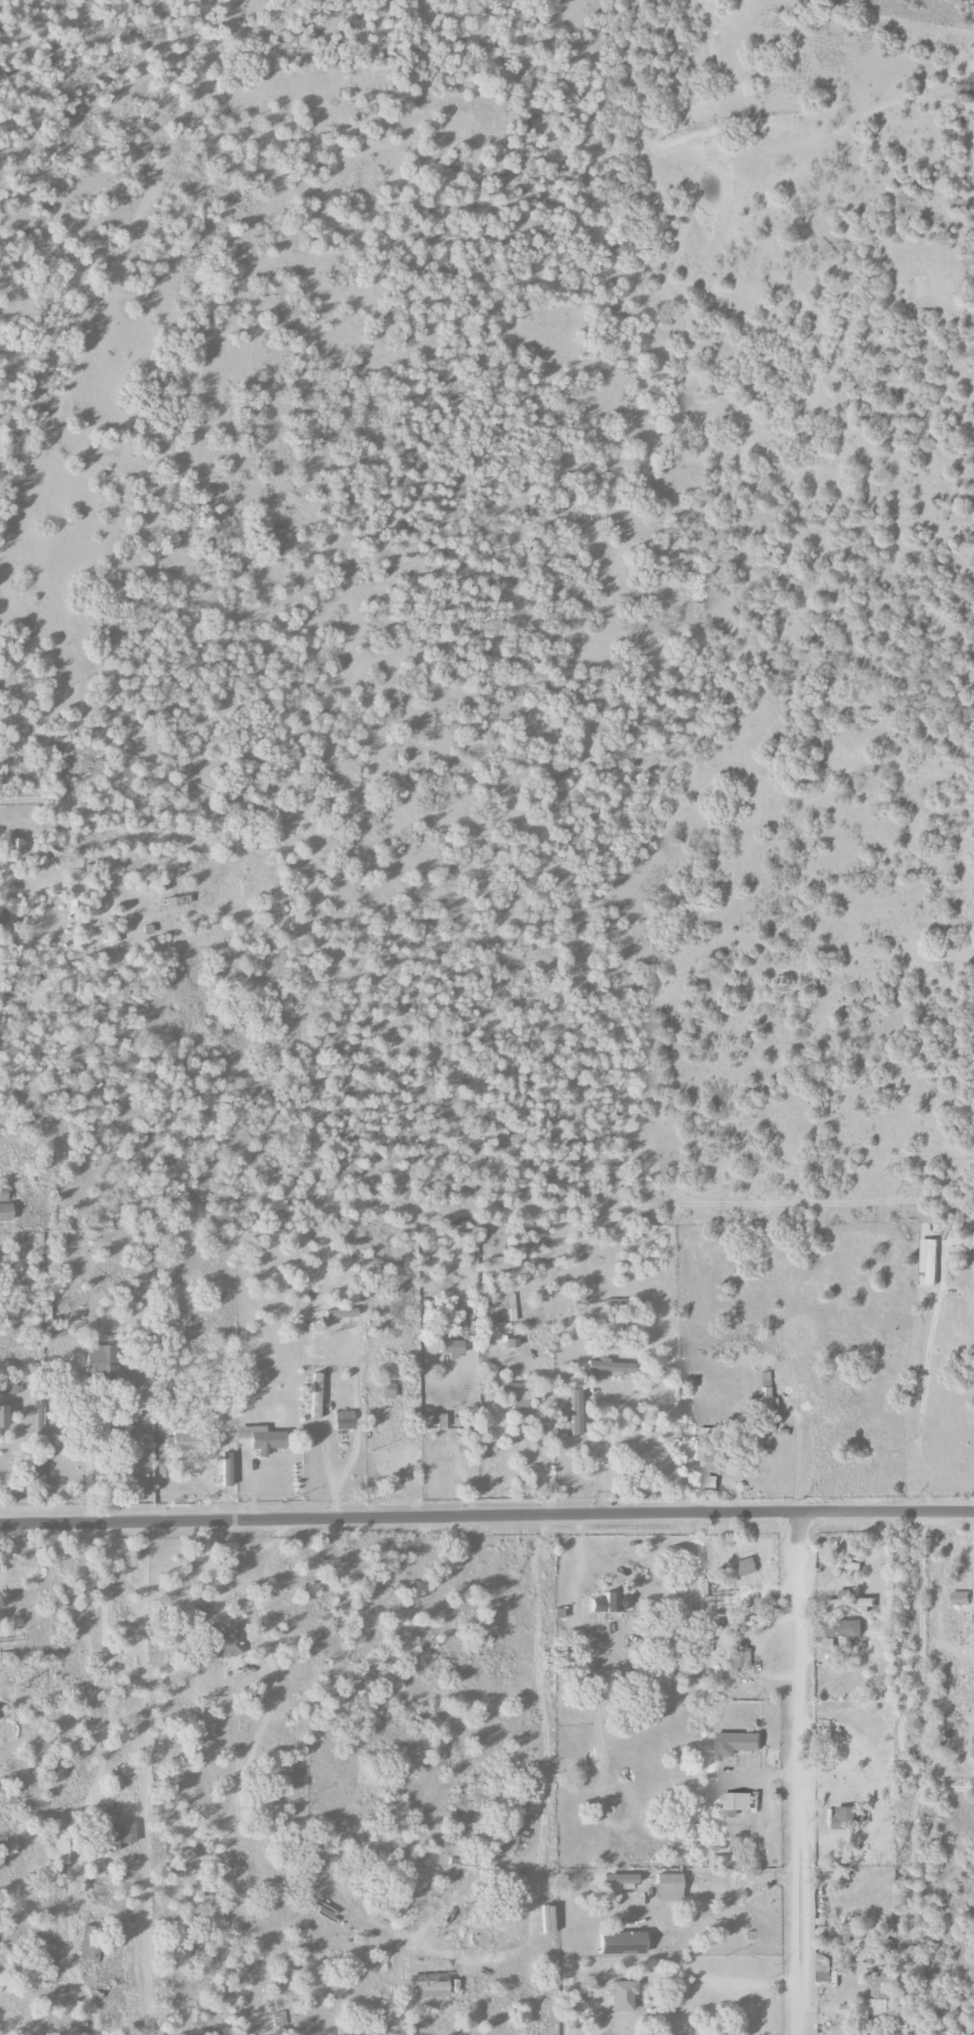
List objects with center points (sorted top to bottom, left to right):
building: (128, 772)
building: (18, 848)
building: (7, 911)
building: (3, 1194)
building: (6, 1213)
building: (931, 1260)
building: (508, 1261)
building: (46, 1309)
building: (340, 1314)
building: (450, 1346)
building: (101, 1361)
building: (612, 1368)
road: (923, 1377)
building: (770, 1391)
building: (519, 1394)
building: (316, 1395)
building: (575, 1411)
building: (4, 1417)
building: (344, 1420)
road: (324, 1423)
road: (610, 1427)
road: (356, 1429)
building: (259, 1439)
building: (188, 1440)
road: (797, 1456)
building: (226, 1469)
building: (712, 1481)
road: (487, 1517)
building: (750, 1566)
road: (208, 1573)
building: (706, 1588)
building: (961, 1598)
building: (853, 1601)
building: (609, 1603)
building: (839, 1632)
building: (228, 1642)
building: (741, 1656)
road: (107, 1659)
road: (914, 1677)
building: (740, 1743)
road: (801, 1773)
building: (737, 1803)
building: (847, 1818)
building: (121, 1834)
building: (61, 1847)
road: (538, 1860)
building: (718, 1861)
building: (669, 1887)
building: (548, 1919)
building: (850, 1933)
building: (87, 1943)
building: (622, 1943)
road: (628, 1970)
road: (760, 1977)
building: (429, 1986)
building: (875, 1995)
building: (622, 1996)
road: (686, 2001)
building: (577, 2006)
building: (278, 2019)

